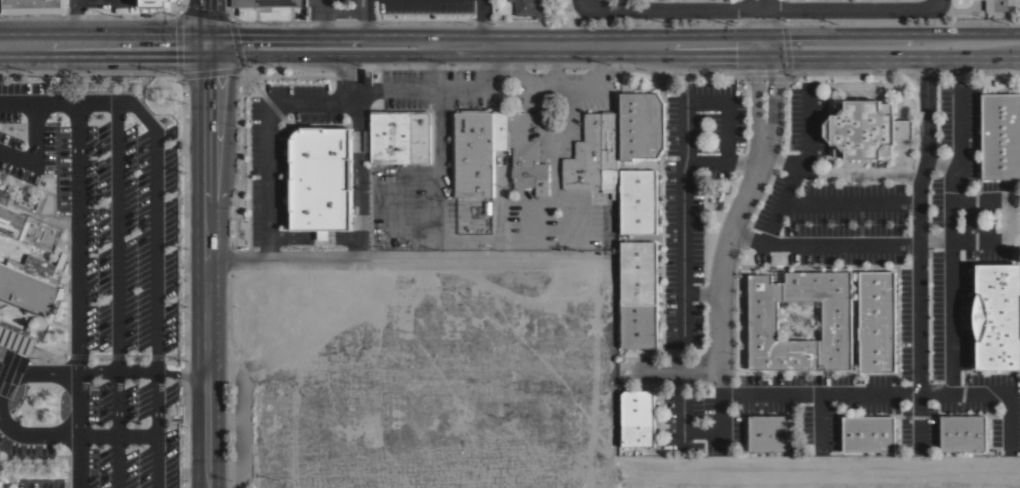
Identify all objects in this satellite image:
traffic signals: (203, 2)
building: (153, 3)
building: (264, 3)
road: (583, 3)
road: (322, 5)
building: (996, 5)
building: (35, 6)
road: (761, 7)
building: (532, 8)
parking lot: (363, 10)
road: (330, 11)
road: (77, 15)
road: (202, 16)
road: (364, 18)
road: (482, 21)
road: (121, 30)
road: (889, 31)
traffic signals: (242, 36)
road: (337, 37)
road: (597, 43)
traffic signals: (763, 45)
road: (890, 54)
traffic signals: (167, 55)
road: (217, 55)
road: (347, 78)
traffic signals: (203, 83)
road: (461, 89)
road: (391, 90)
road: (312, 102)
road: (805, 123)
building: (641, 125)
building: (865, 129)
building: (1000, 135)
building: (399, 136)
building: (493, 153)
building: (595, 155)
road: (722, 159)
road: (940, 160)
road: (683, 166)
building: (321, 179)
road: (783, 197)
road: (850, 199)
building: (638, 200)
road: (735, 221)
road: (1007, 234)
road: (952, 238)
road: (839, 240)
road: (917, 248)
road: (398, 252)
building: (29, 260)
road: (204, 260)
road: (155, 263)
road: (115, 267)
parking lot: (100, 290)
road: (701, 291)
road: (76, 293)
building: (639, 294)
building: (997, 316)
building: (763, 320)
building: (877, 320)
building: (14, 341)
road: (672, 367)
road: (115, 371)
road: (180, 374)
road: (890, 390)
building: (638, 418)
building: (963, 432)
building: (771, 433)
building: (869, 433)
road: (94, 434)
road: (240, 434)
road: (134, 435)
road: (113, 461)
building: (1, 482)

